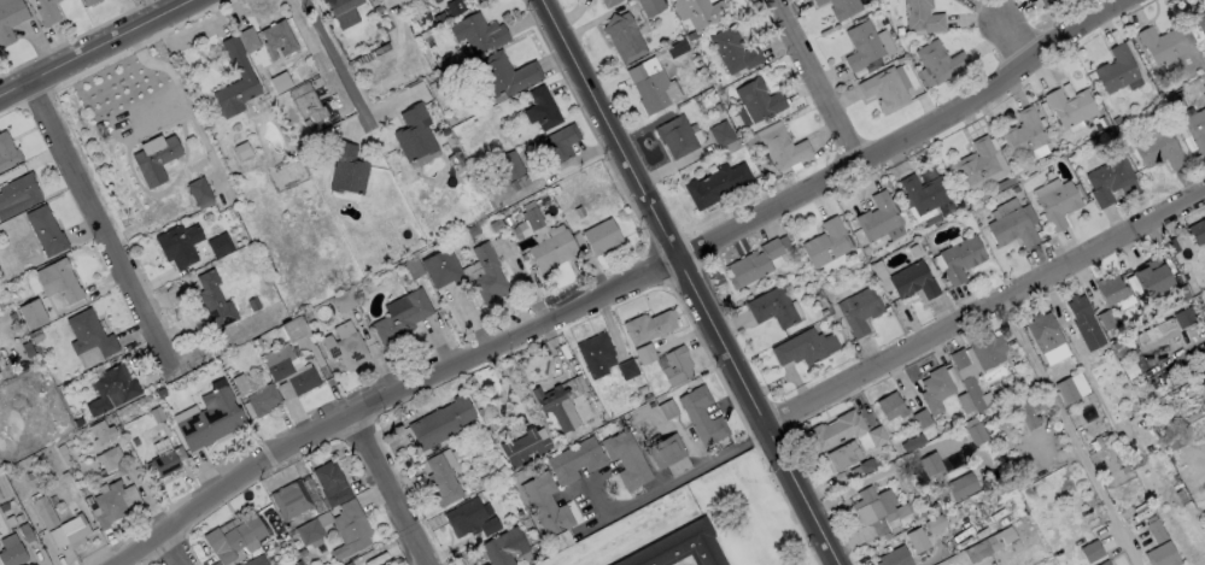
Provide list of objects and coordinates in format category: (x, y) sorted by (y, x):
building: (1204, 0)
building: (434, 1)
building: (1043, 1)
building: (87, 2)
building: (607, 2)
building: (340, 5)
building: (838, 7)
building: (46, 11)
building: (702, 12)
building: (920, 17)
building: (10, 19)
building: (1195, 24)
road: (1012, 31)
building: (476, 33)
building: (622, 37)
building: (275, 40)
building: (861, 45)
building: (1160, 45)
road: (99, 49)
road: (311, 49)
building: (732, 49)
building: (936, 63)
road: (339, 65)
building: (1115, 70)
building: (504, 73)
road: (821, 80)
building: (233, 81)
building: (651, 86)
building: (883, 89)
building: (756, 100)
building: (305, 102)
building: (542, 107)
building: (1067, 107)
building: (1195, 129)
building: (720, 133)
building: (413, 134)
building: (1024, 135)
building: (675, 136)
building: (560, 142)
building: (1154, 145)
building: (779, 146)
building: (6, 152)
building: (153, 160)
building: (509, 165)
building: (977, 166)
building: (345, 169)
building: (1110, 181)
building: (715, 184)
building: (199, 193)
building: (920, 193)
building: (17, 194)
building: (1055, 201)
road: (98, 207)
building: (877, 217)
building: (527, 223)
building: (1011, 228)
building: (43, 230)
building: (1197, 231)
building: (599, 235)
building: (218, 243)
building: (824, 243)
building: (177, 245)
building: (550, 249)
building: (957, 259)
building: (751, 264)
building: (468, 272)
building: (1150, 277)
building: (57, 281)
building: (911, 281)
road: (685, 283)
road: (621, 286)
building: (1111, 290)
building: (343, 300)
building: (213, 301)
building: (771, 307)
building: (858, 310)
road: (985, 311)
building: (30, 313)
building: (399, 316)
building: (1182, 317)
building: (1104, 318)
building: (1082, 323)
building: (647, 326)
building: (289, 329)
building: (1042, 331)
building: (88, 334)
building: (1152, 334)
building: (802, 347)
building: (344, 349)
building: (987, 351)
building: (644, 353)
building: (593, 354)
building: (674, 366)
building: (279, 369)
building: (626, 369)
building: (302, 379)
building: (1070, 387)
building: (110, 389)
building: (934, 389)
building: (262, 400)
building: (964, 401)
building: (561, 402)
building: (889, 405)
building: (1028, 411)
building: (700, 416)
building: (920, 418)
building: (209, 419)
building: (439, 423)
building: (835, 429)
building: (973, 430)
building: (100, 431)
road: (1069, 434)
building: (912, 442)
building: (523, 445)
building: (667, 454)
building: (840, 457)
building: (107, 458)
building: (625, 459)
building: (573, 460)
building: (163, 464)
building: (930, 466)
road: (684, 470)
building: (326, 476)
building: (439, 479)
building: (960, 485)
road: (396, 490)
building: (294, 499)
building: (544, 504)
building: (107, 505)
building: (876, 507)
building: (43, 512)
building: (469, 518)
building: (932, 524)
building: (72, 530)
building: (349, 530)
building: (1154, 530)
building: (308, 531)
building: (24, 532)
building: (232, 538)
building: (916, 540)
building: (503, 546)
building: (678, 546)
building: (979, 548)
road: (176, 549)
building: (1089, 551)
building: (1159, 554)
building: (12, 555)
building: (893, 557)
building: (255, 561)
building: (346, 563)
building: (1101, 563)

